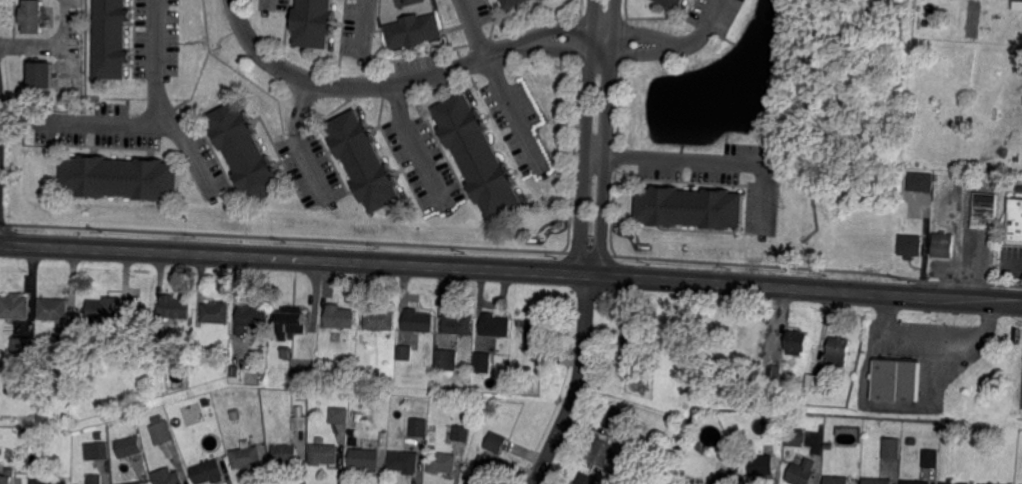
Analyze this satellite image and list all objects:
building: (512, 2)
building: (674, 3)
road: (265, 4)
building: (1017, 6)
building: (34, 16)
building: (313, 22)
building: (926, 23)
building: (935, 24)
road: (365, 28)
building: (412, 29)
road: (700, 31)
building: (111, 38)
road: (665, 44)
road: (50, 45)
building: (42, 75)
road: (502, 84)
road: (361, 85)
road: (156, 106)
road: (105, 124)
road: (299, 144)
road: (417, 147)
building: (244, 151)
building: (477, 155)
road: (710, 158)
building: (363, 160)
building: (121, 176)
building: (921, 182)
building: (691, 206)
building: (986, 207)
building: (1015, 220)
building: (943, 245)
building: (911, 246)
road: (1018, 267)
road: (511, 269)
road: (588, 273)
building: (175, 307)
building: (15, 308)
building: (54, 309)
building: (105, 311)
building: (216, 312)
building: (340, 316)
building: (250, 319)
building: (379, 319)
building: (290, 321)
building: (418, 321)
building: (457, 323)
building: (187, 325)
building: (496, 325)
building: (537, 334)
road: (912, 335)
building: (796, 342)
building: (632, 346)
building: (23, 348)
building: (225, 348)
building: (64, 350)
building: (839, 351)
building: (285, 352)
building: (405, 352)
building: (121, 357)
building: (445, 359)
building: (671, 359)
building: (481, 363)
building: (301, 368)
building: (321, 369)
building: (234, 370)
building: (775, 372)
building: (896, 380)
building: (817, 382)
road: (578, 383)
road: (912, 407)
building: (234, 412)
building: (465, 412)
building: (211, 415)
building: (337, 415)
building: (615, 419)
building: (483, 420)
building: (212, 423)
building: (298, 423)
building: (790, 423)
building: (781, 424)
building: (417, 428)
building: (161, 431)
building: (457, 432)
building: (25, 434)
building: (98, 436)
building: (795, 437)
building: (496, 440)
building: (912, 441)
building: (128, 444)
building: (637, 445)
building: (828, 445)
building: (892, 446)
building: (100, 451)
building: (600, 452)
building: (323, 453)
building: (285, 454)
building: (247, 456)
building: (929, 457)
building: (365, 459)
building: (404, 462)
building: (442, 462)
building: (762, 464)
building: (484, 470)
building: (209, 472)
building: (802, 472)
building: (167, 476)
building: (614, 476)
building: (8, 477)
building: (723, 478)
building: (93, 479)
building: (586, 479)
building: (690, 480)
building: (838, 480)
building: (876, 481)
building: (949, 481)
building: (45, 482)
building: (914, 482)
building: (138, 483)
building: (985, 483)

